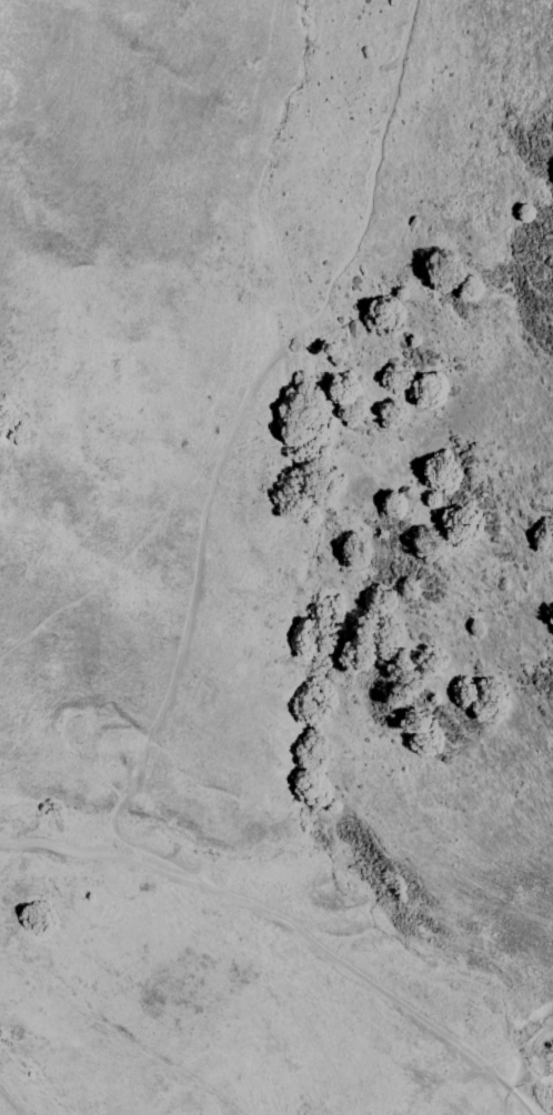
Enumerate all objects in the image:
road: (217, 461)
road: (119, 566)
road: (109, 862)
road: (382, 993)
road: (9, 1104)

